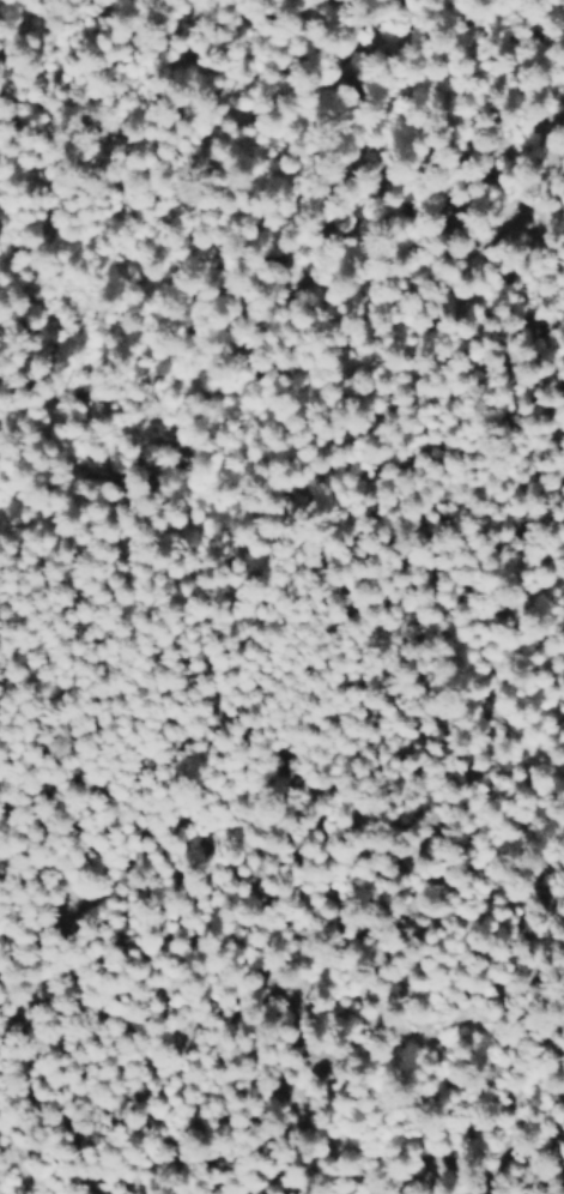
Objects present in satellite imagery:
road: (18, 1176)

